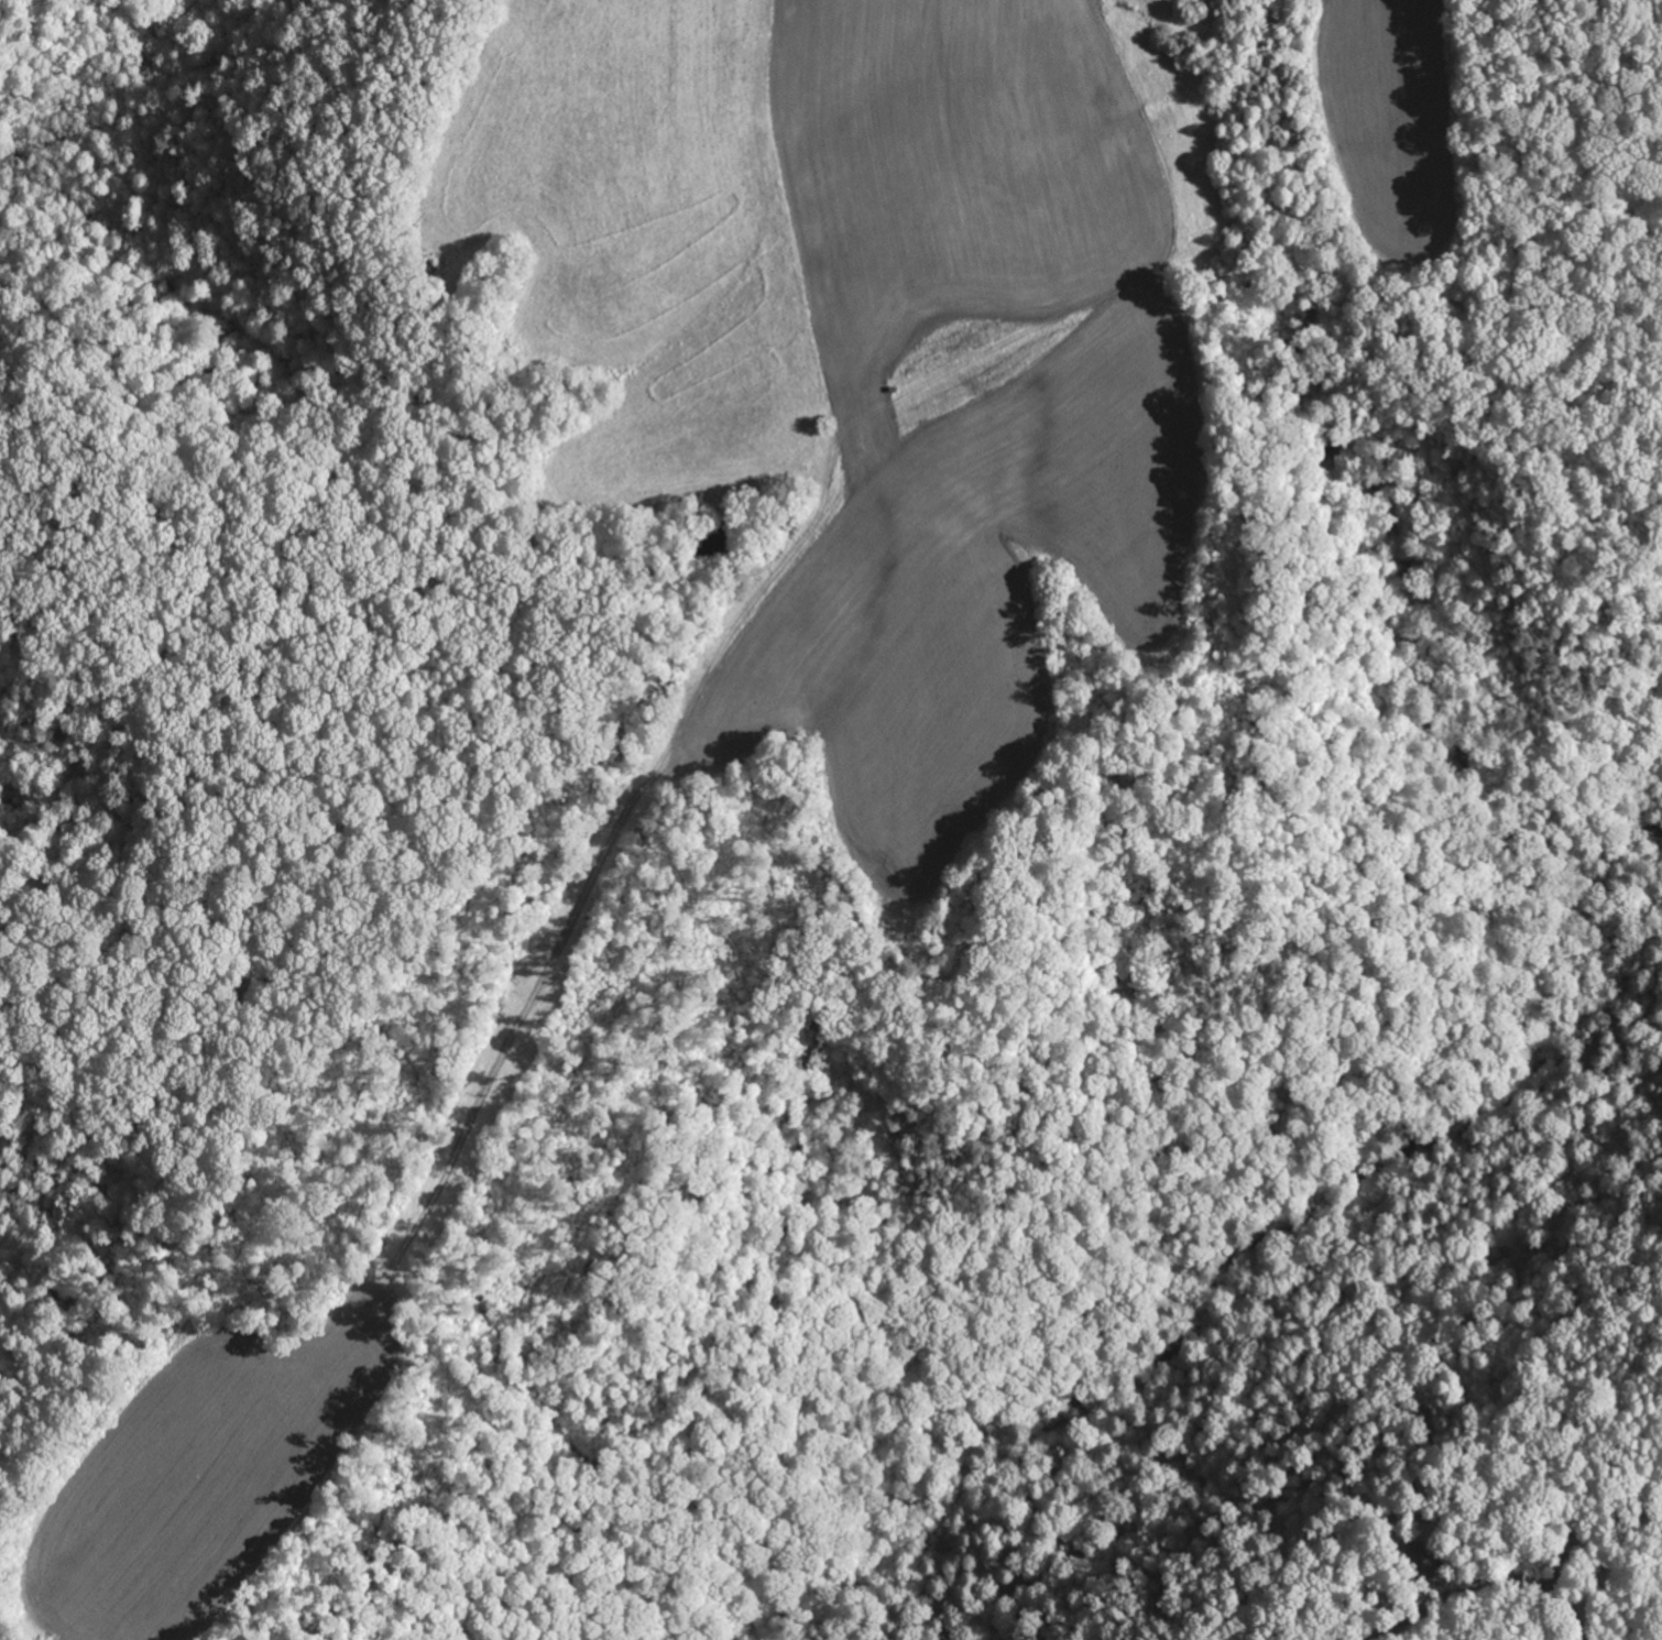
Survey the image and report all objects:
road: (1481, 1582)

